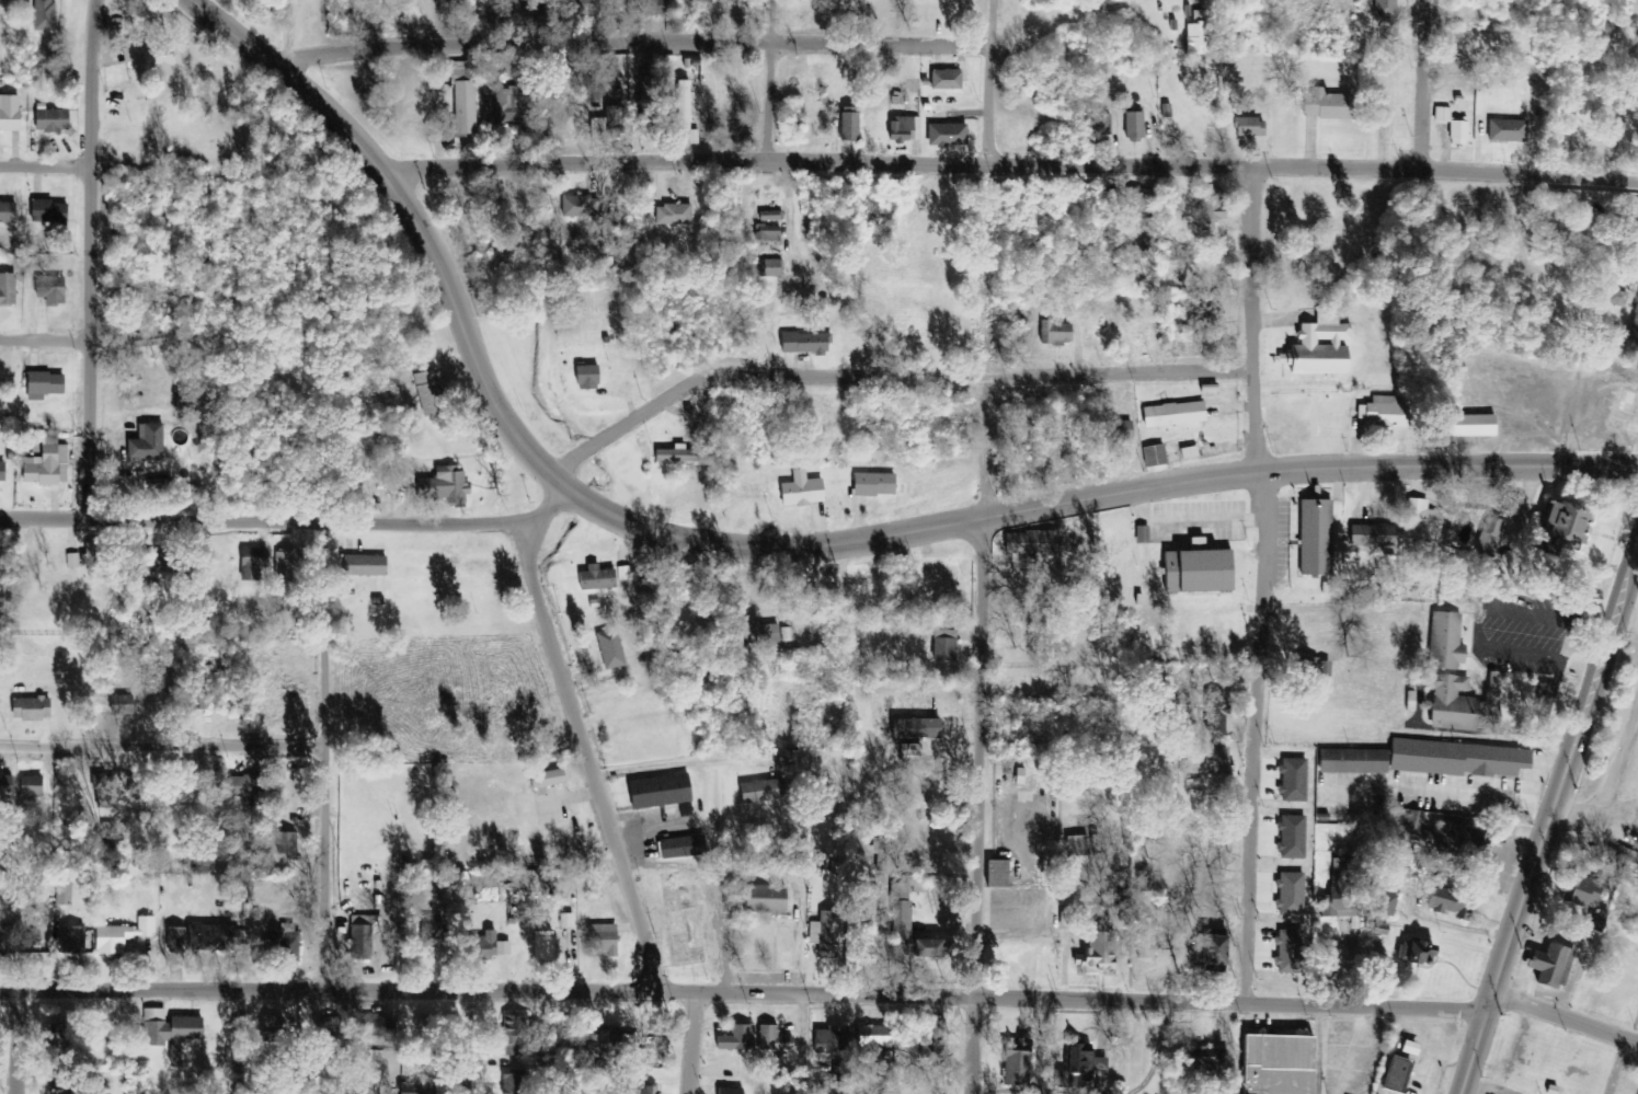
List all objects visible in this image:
building: (1383, 9)
building: (46, 15)
building: (1194, 35)
road: (637, 49)
building: (150, 57)
building: (942, 79)
road: (768, 81)
road: (1421, 87)
building: (467, 99)
building: (1324, 105)
building: (648, 108)
building: (515, 110)
building: (687, 112)
building: (11, 114)
building: (54, 122)
building: (611, 123)
building: (1098, 125)
building: (847, 126)
building: (1450, 126)
building: (1132, 127)
building: (1248, 127)
building: (903, 128)
building: (1505, 130)
building: (943, 135)
road: (46, 162)
road: (1015, 171)
building: (581, 207)
building: (1136, 207)
building: (44, 211)
building: (1630, 211)
building: (9, 214)
building: (676, 216)
building: (767, 216)
road: (409, 218)
building: (765, 233)
building: (1636, 241)
road: (90, 260)
building: (769, 268)
building: (8, 290)
building: (54, 291)
road: (44, 327)
building: (1634, 327)
building: (1055, 333)
building: (803, 343)
building: (1317, 345)
road: (905, 370)
building: (584, 377)
building: (47, 387)
building: (429, 394)
building: (1375, 412)
building: (1171, 415)
building: (1468, 426)
building: (149, 445)
building: (1187, 452)
building: (681, 456)
building: (1153, 456)
building: (48, 464)
building: (4, 472)
road: (575, 473)
building: (871, 484)
building: (159, 486)
building: (448, 486)
building: (798, 491)
road: (1097, 492)
road: (289, 520)
building: (1419, 520)
building: (1553, 528)
building: (1370, 530)
building: (1488, 537)
building: (1313, 538)
building: (1028, 542)
road: (982, 546)
building: (96, 557)
building: (75, 561)
building: (256, 565)
building: (289, 566)
building: (2, 567)
building: (368, 567)
building: (1193, 568)
building: (594, 578)
road: (1263, 587)
building: (761, 634)
building: (787, 635)
building: (1443, 642)
building: (941, 645)
building: (607, 649)
building: (1309, 667)
building: (198, 699)
building: (1458, 704)
building: (35, 709)
building: (1214, 713)
building: (913, 728)
road: (161, 746)
building: (908, 750)
road: (323, 759)
building: (1454, 759)
road: (588, 761)
building: (1200, 761)
building: (1349, 761)
building: (1017, 776)
building: (543, 780)
building: (1291, 780)
building: (34, 786)
building: (247, 786)
building: (107, 791)
building: (656, 792)
building: (758, 792)
building: (186, 797)
road: (1550, 816)
building: (1290, 837)
building: (1437, 837)
building: (288, 843)
building: (1074, 847)
building: (679, 848)
building: (878, 850)
building: (1626, 864)
building: (1338, 866)
building: (994, 874)
building: (1142, 882)
building: (1578, 893)
building: (1287, 895)
building: (761, 899)
building: (1339, 905)
building: (1381, 905)
building: (1443, 905)
building: (563, 921)
building: (1592, 924)
building: (904, 926)
building: (365, 935)
building: (125, 936)
building: (821, 937)
building: (204, 938)
building: (602, 938)
building: (1142, 938)
building: (75, 941)
building: (287, 942)
building: (8, 943)
building: (486, 945)
building: (541, 946)
building: (1211, 952)
building: (1286, 952)
building: (1411, 953)
building: (1096, 954)
building: (1548, 966)
road: (822, 1001)
building: (426, 1023)
building: (61, 1026)
building: (276, 1029)
building: (174, 1034)
road: (1, 1035)
building: (513, 1036)
building: (733, 1039)
building: (770, 1039)
building: (827, 1039)
building: (869, 1041)
building: (612, 1043)
road: (222, 1046)
road: (458, 1047)
road: (677, 1047)
building: (1191, 1057)
building: (1078, 1062)
building: (1272, 1064)
building: (1011, 1067)
building: (1393, 1074)
building: (511, 1084)
building: (66, 1085)
building: (638, 1090)
building: (728, 1092)

